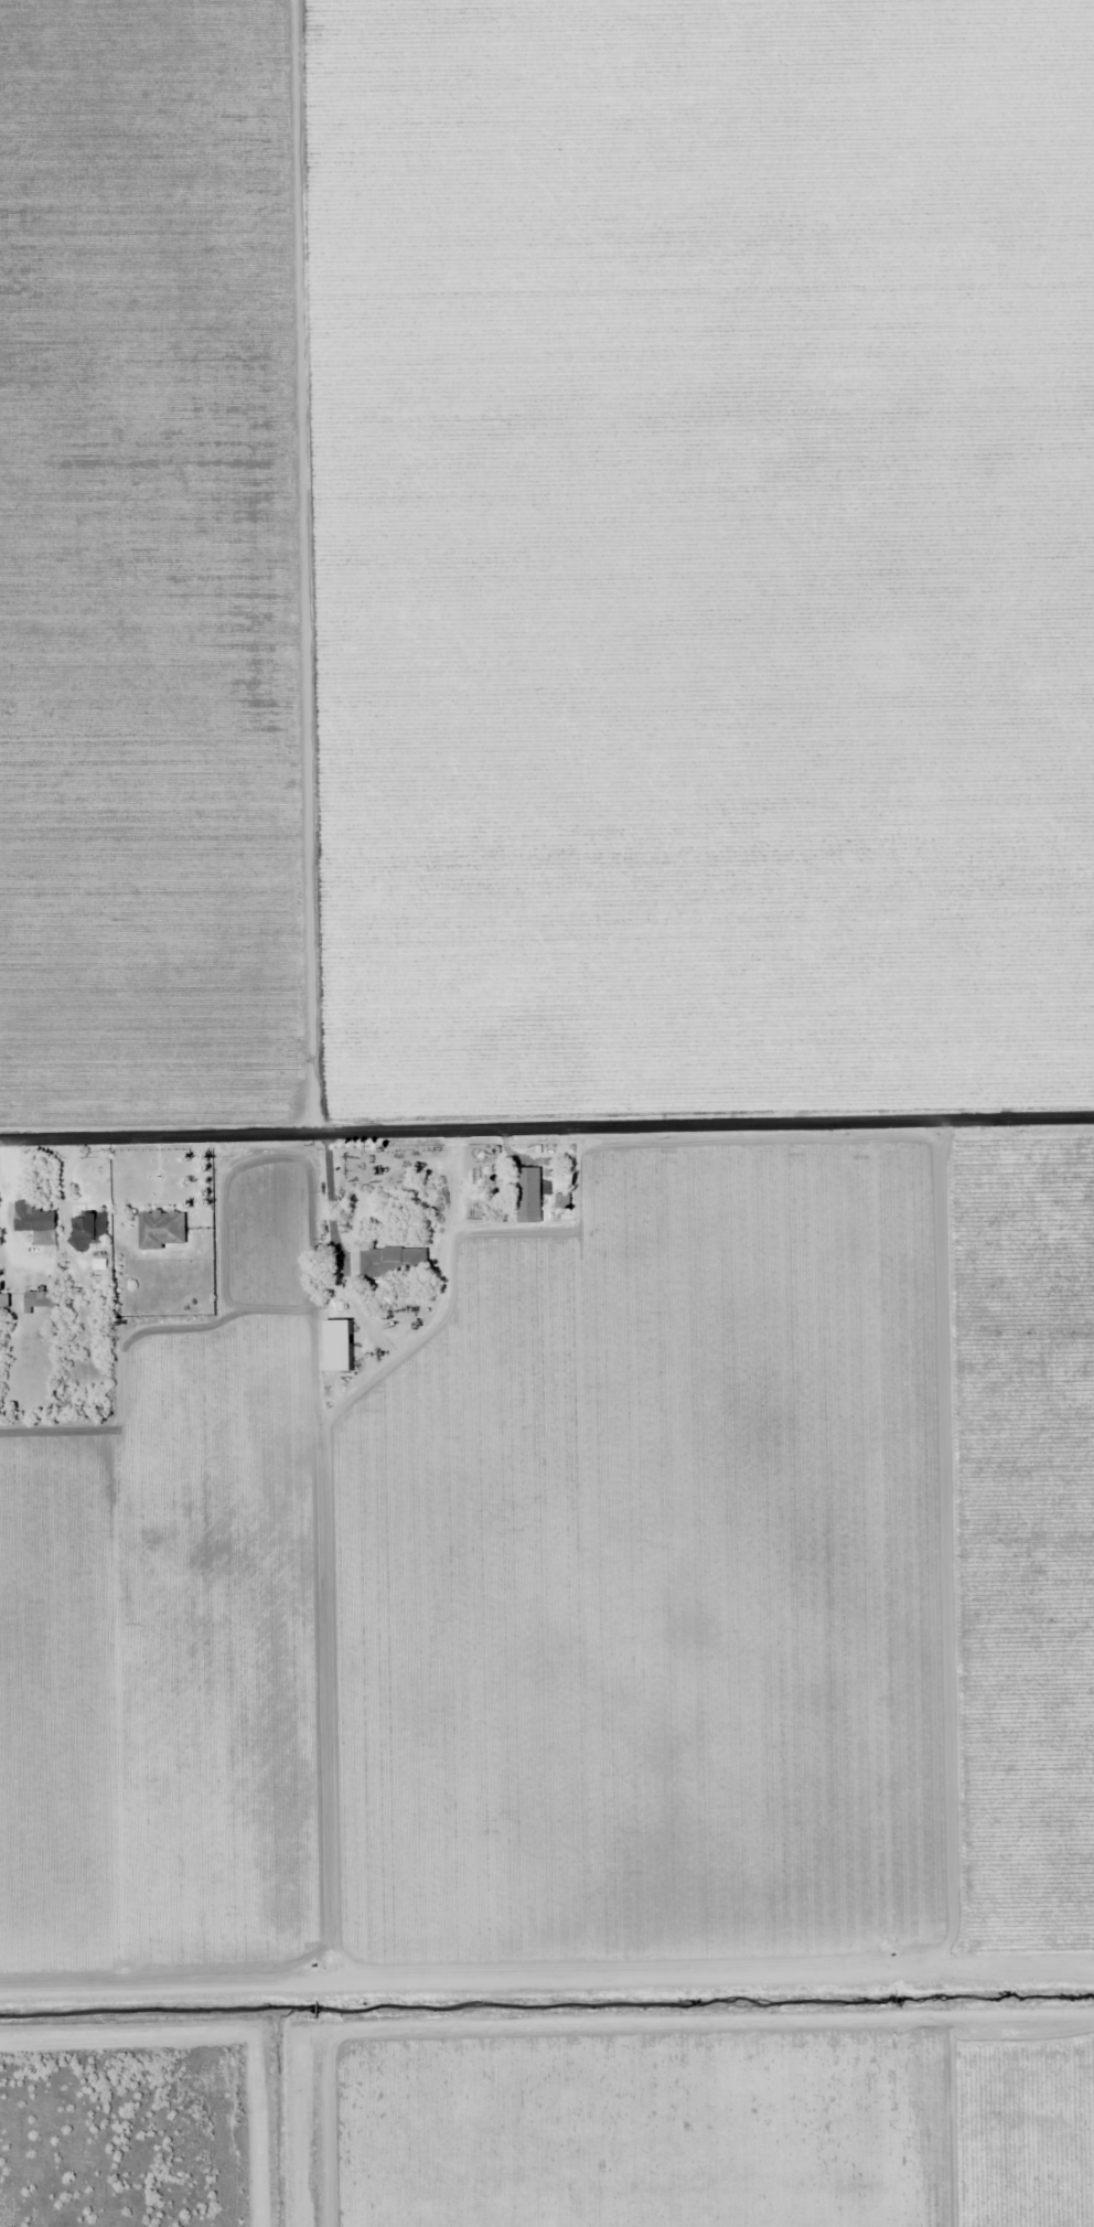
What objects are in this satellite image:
road: (547, 1129)
building: (528, 1192)
building: (35, 1223)
building: (88, 1231)
building: (394, 1263)
building: (39, 1298)
building: (331, 1318)

